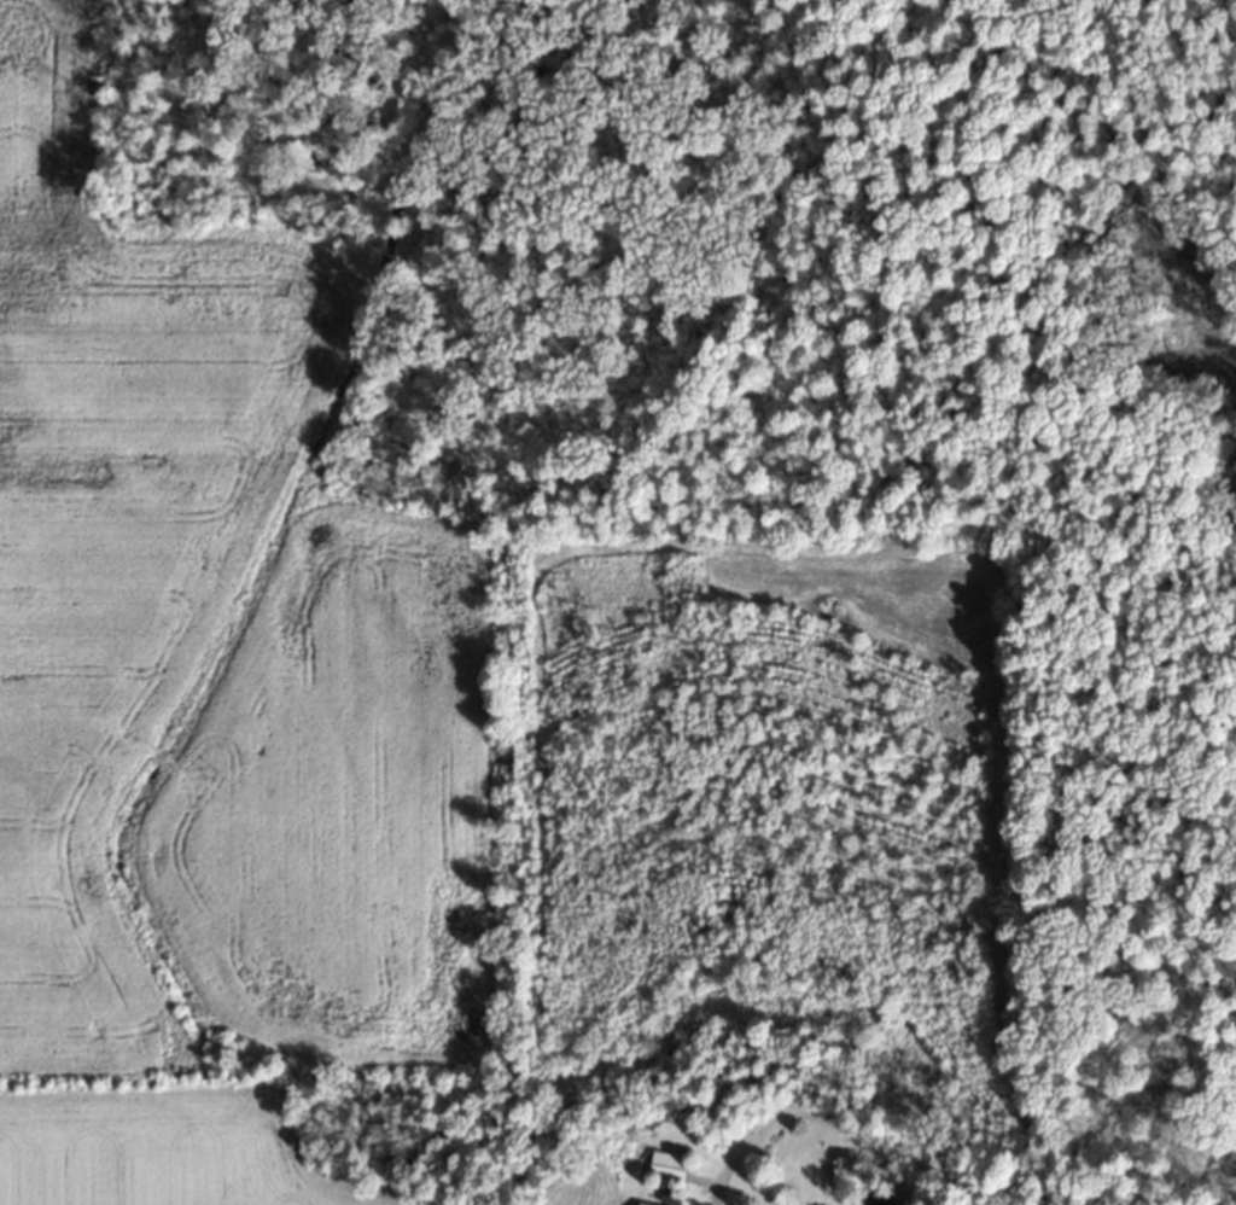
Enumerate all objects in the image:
road: (806, 1111)
building: (670, 1165)

